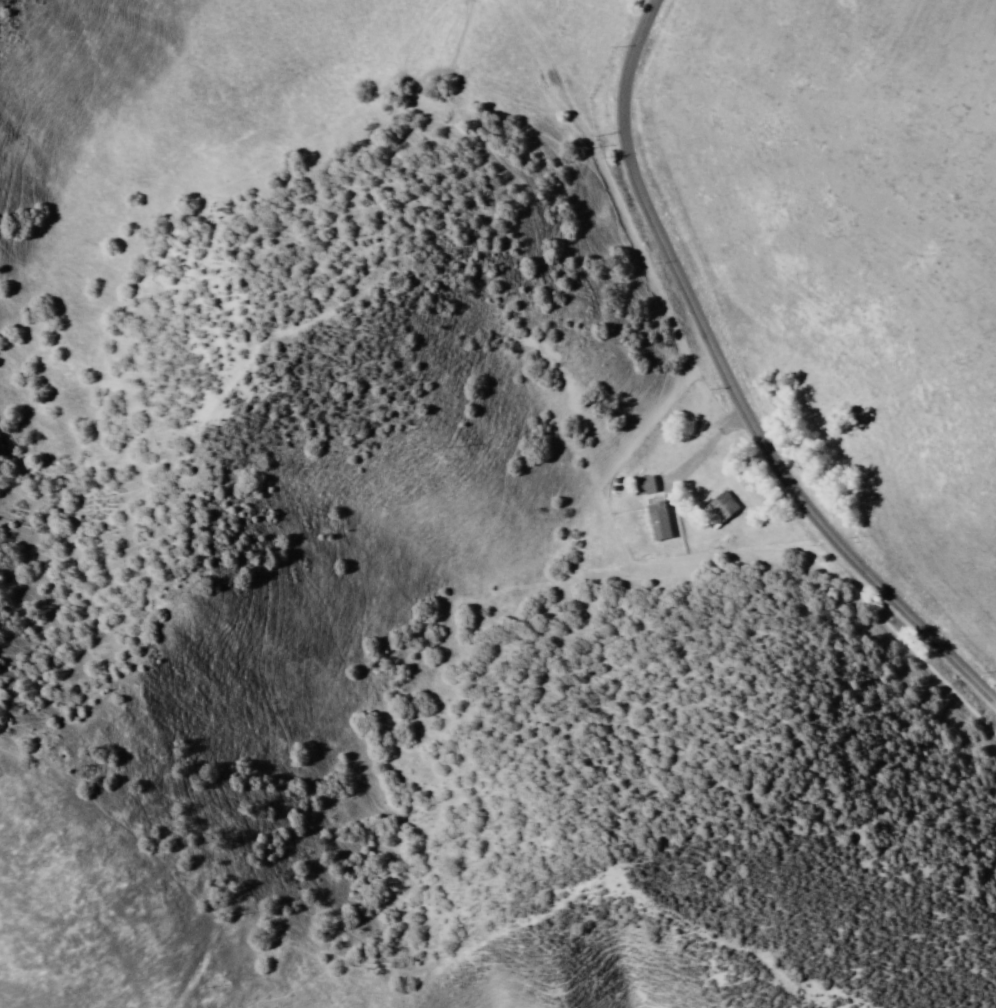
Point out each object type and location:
crop: (853, 254)
road: (727, 387)
building: (643, 502)
building: (707, 506)

